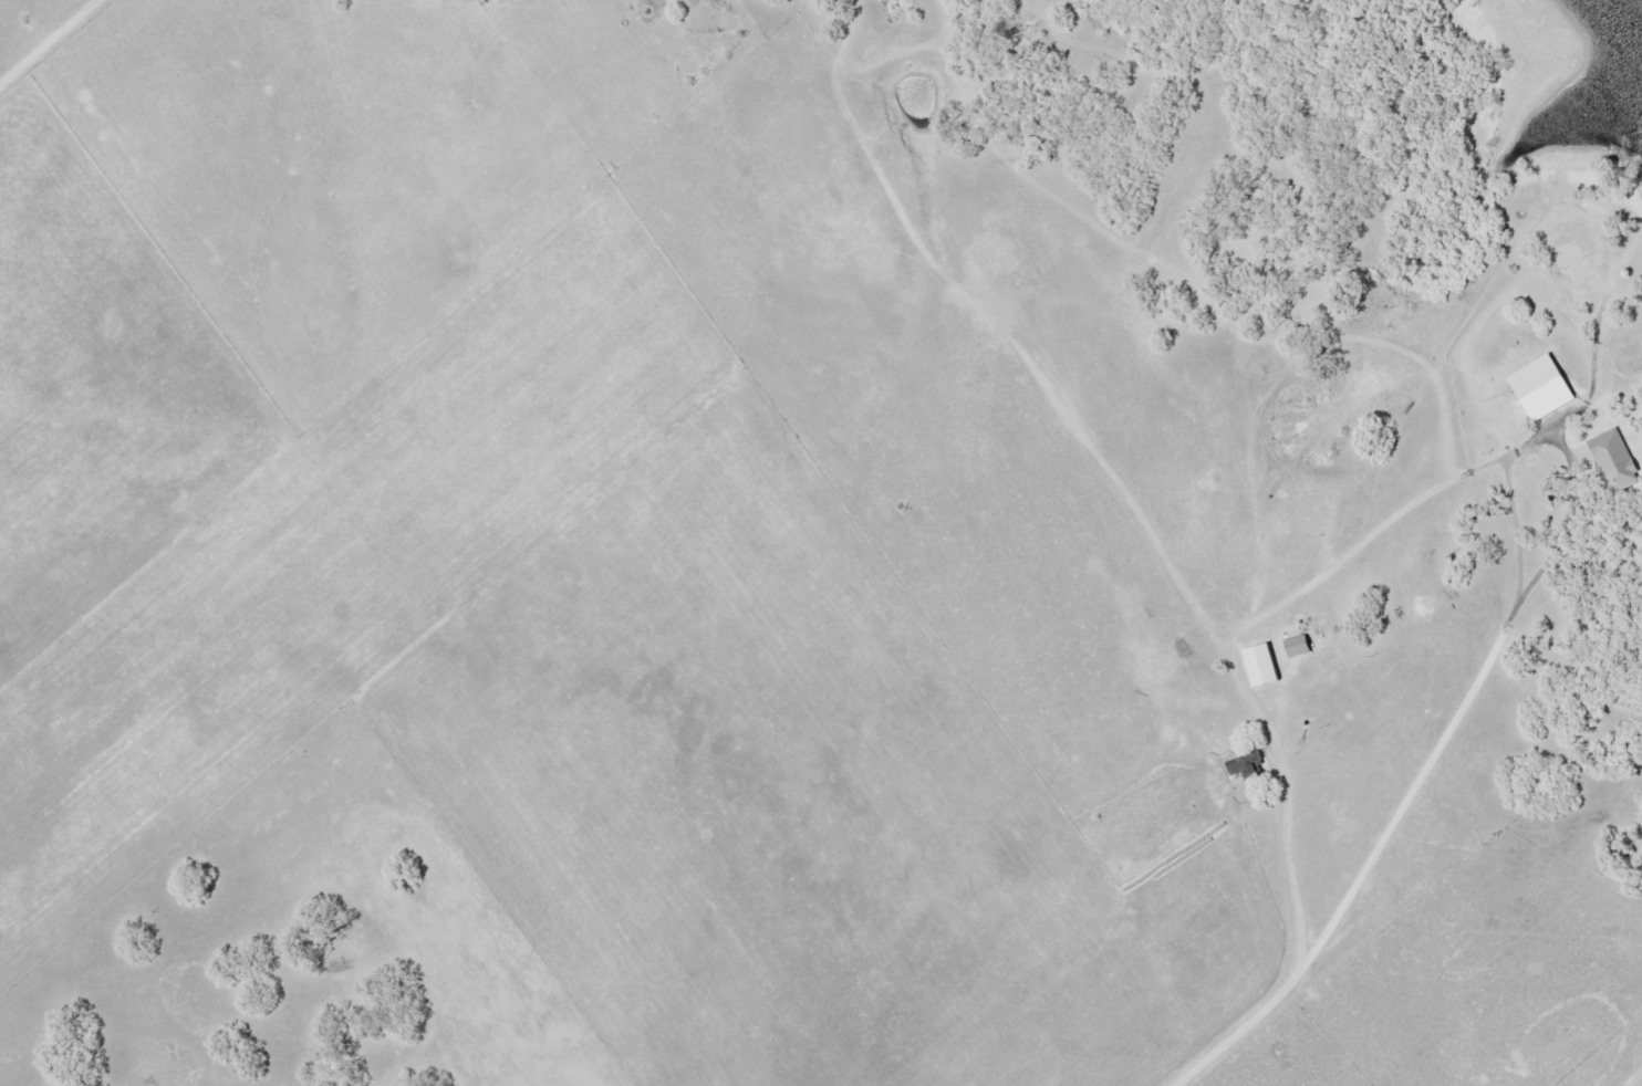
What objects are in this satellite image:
road: (49, 41)
building: (1546, 386)
building: (1617, 460)
road: (1247, 627)
building: (1299, 645)
building: (1243, 761)
road: (1386, 835)
road: (1635, 1079)

